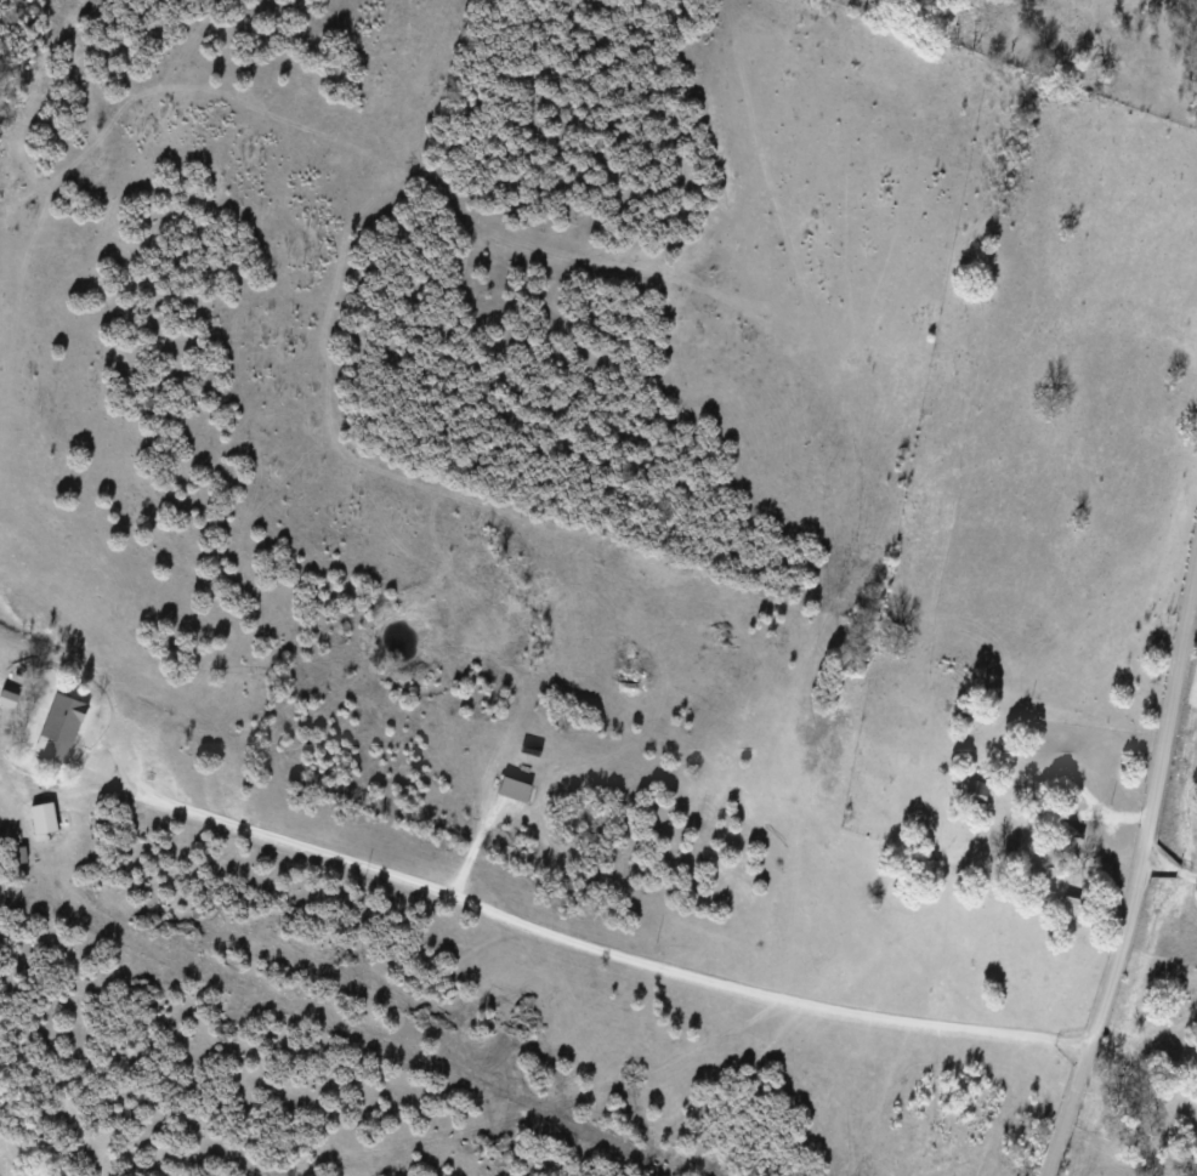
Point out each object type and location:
building: (6, 699)
building: (57, 726)
building: (512, 788)
building: (978, 789)
building: (41, 818)
road: (1134, 871)

